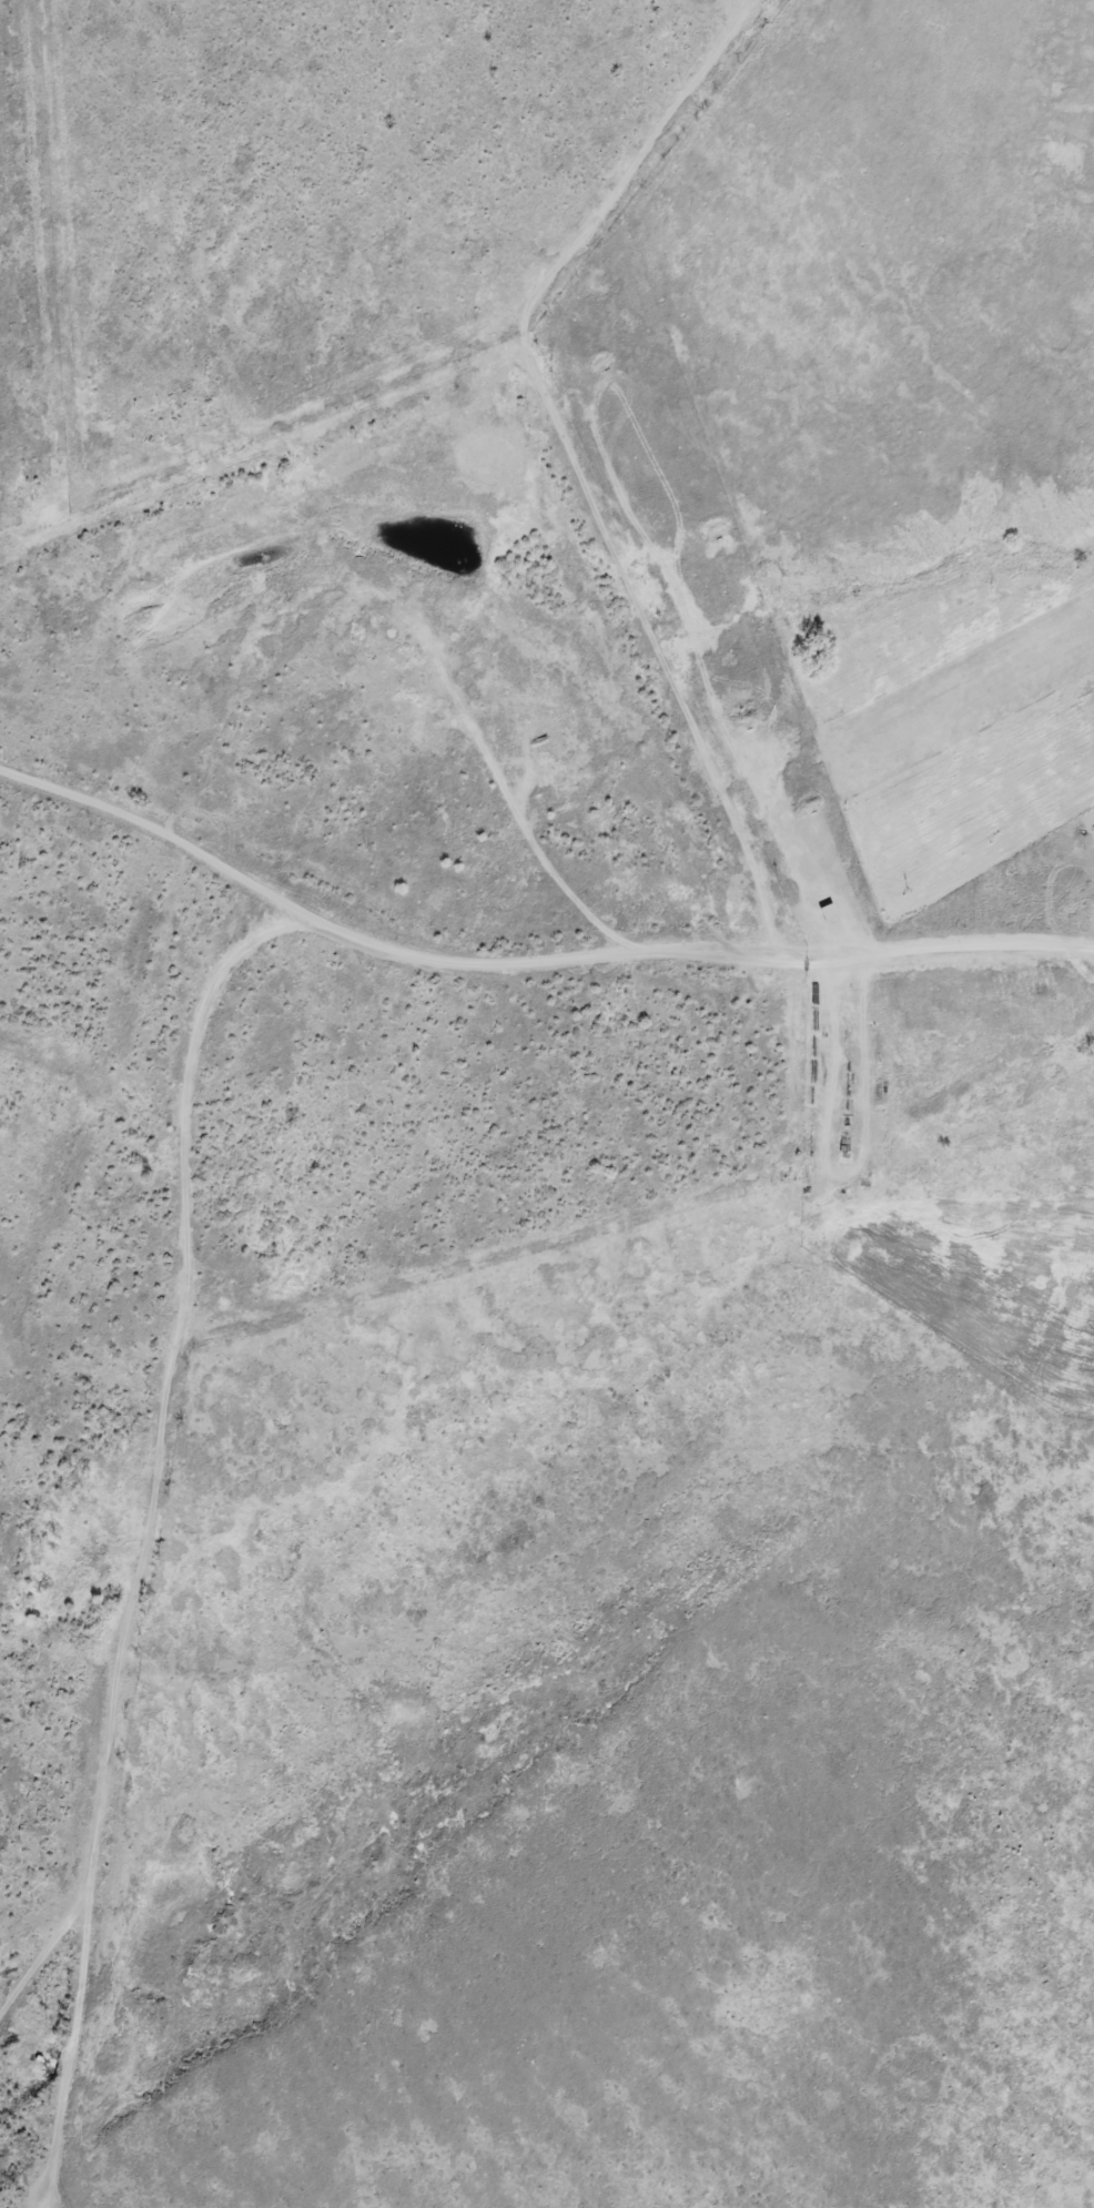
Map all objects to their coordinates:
building: (824, 914)
road: (525, 964)
road: (160, 1479)

